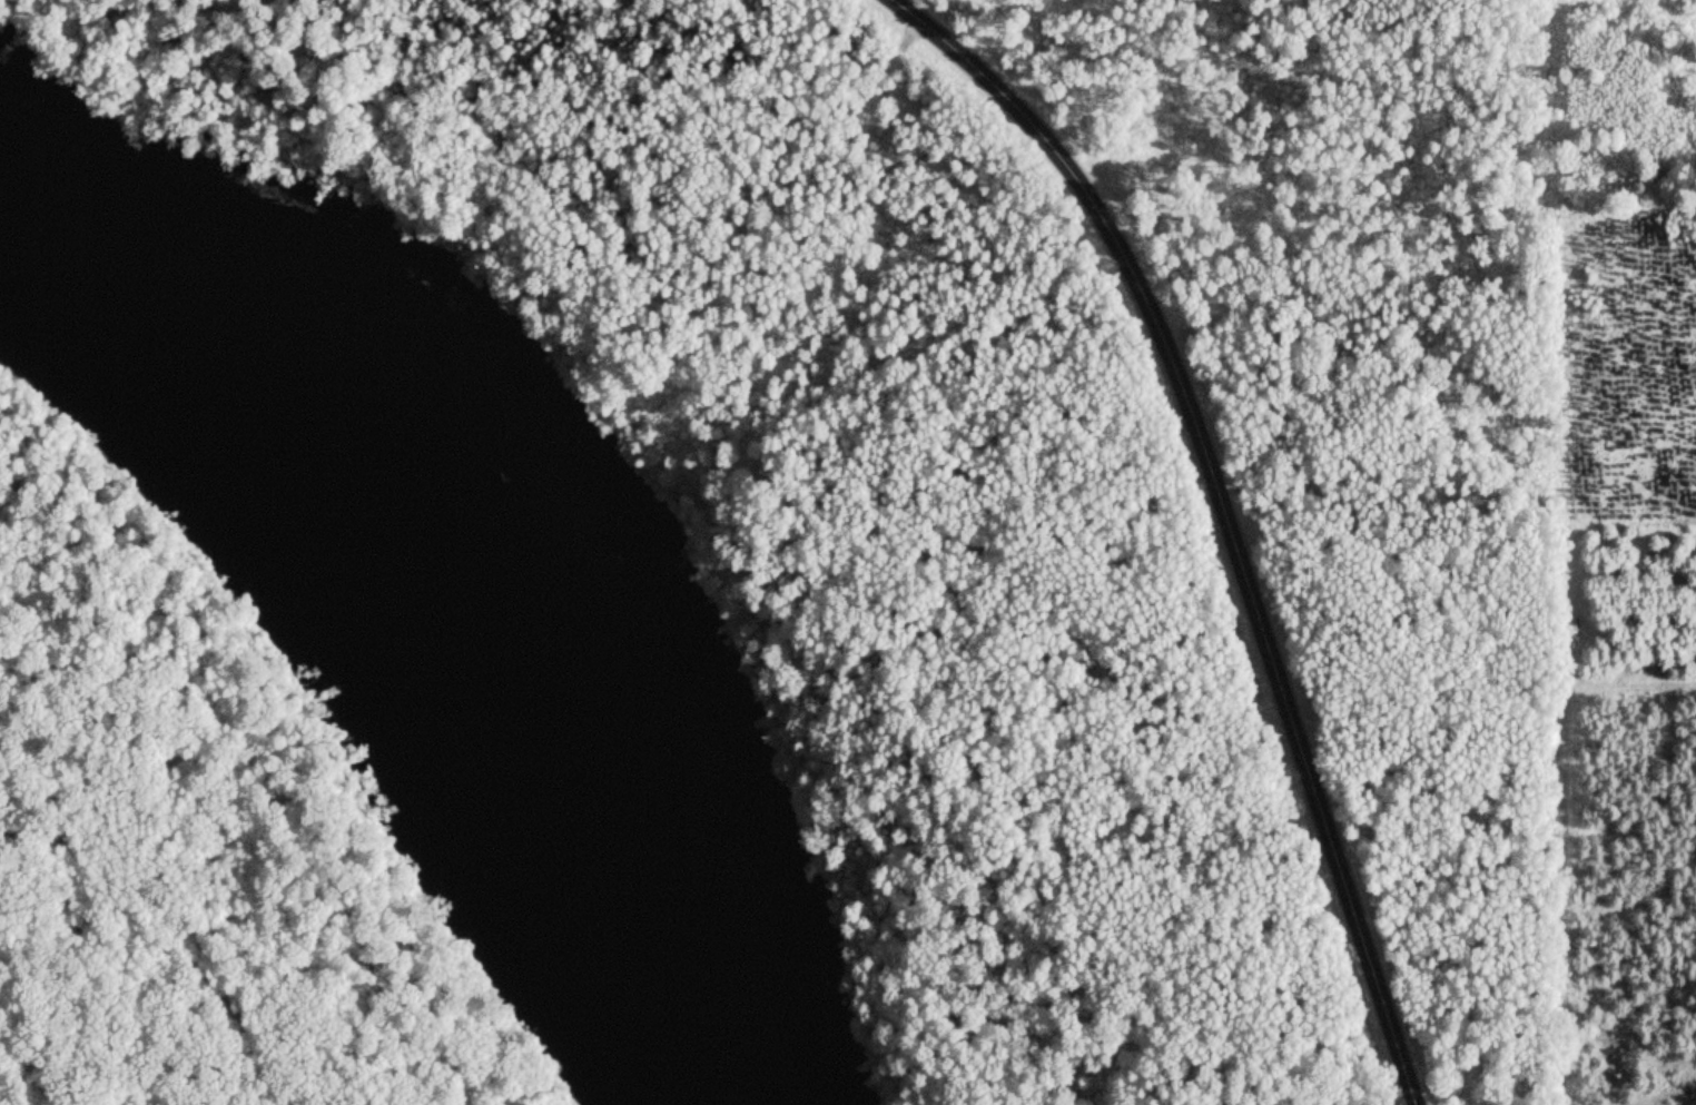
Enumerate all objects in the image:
park: (915, 489)
road: (1223, 513)
river: (408, 629)
park: (191, 849)
road: (149, 939)

